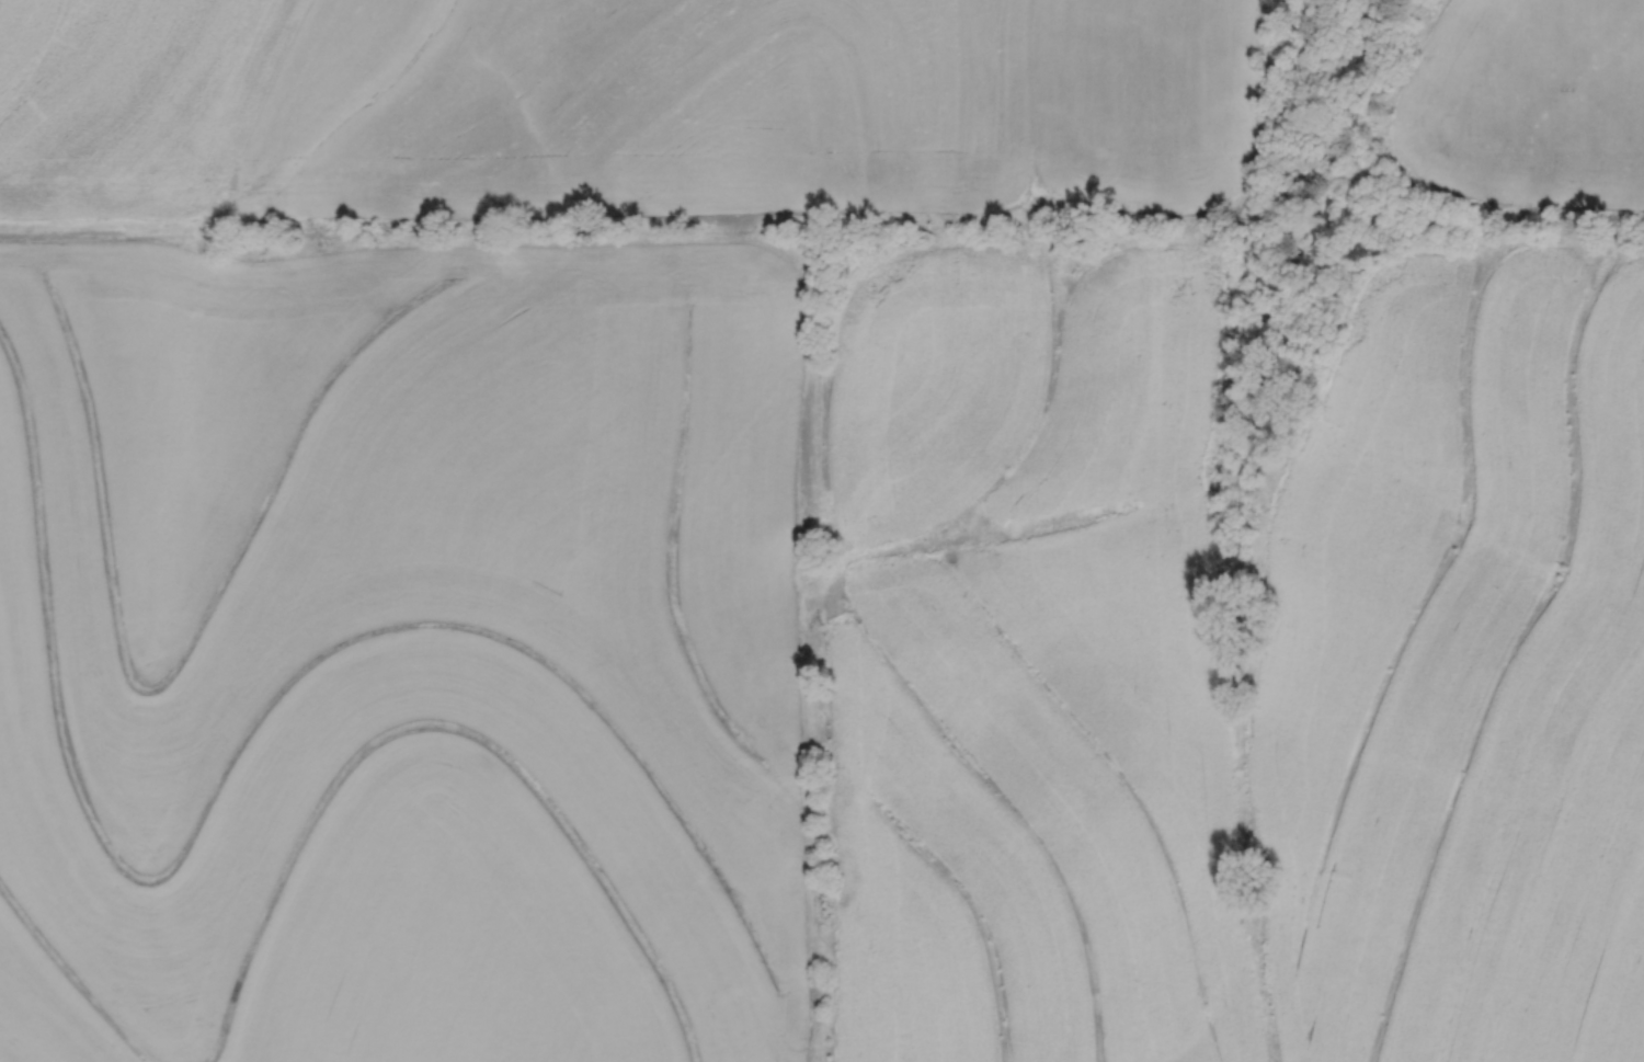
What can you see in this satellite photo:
crop: (1529, 105)
crop: (628, 116)
crop: (408, 648)
crop: (1021, 655)
crop: (1460, 669)

